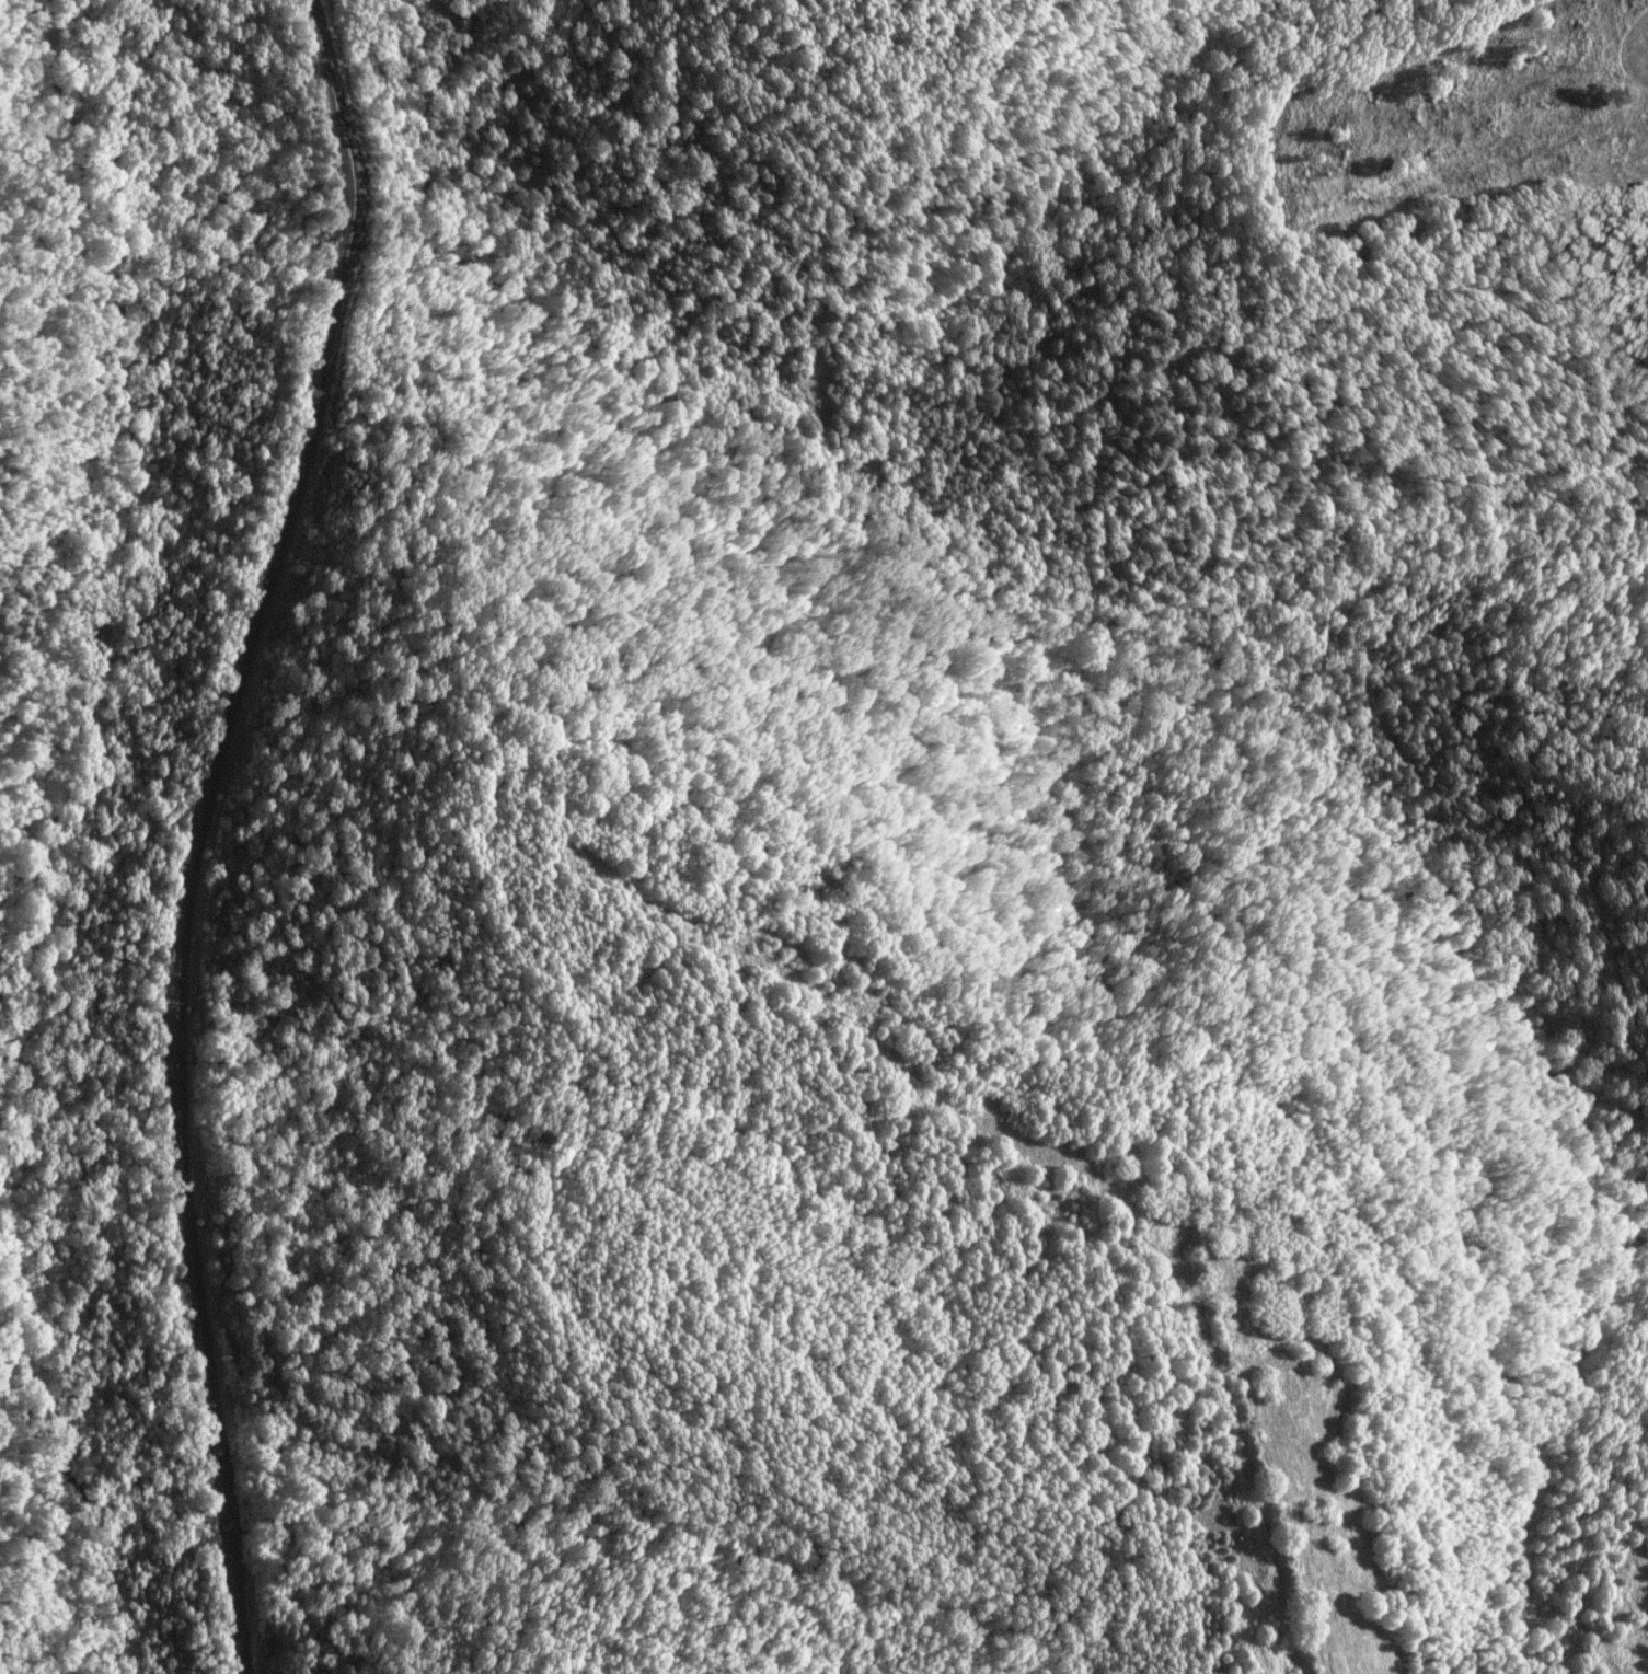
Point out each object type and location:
railway: (168, 830)

